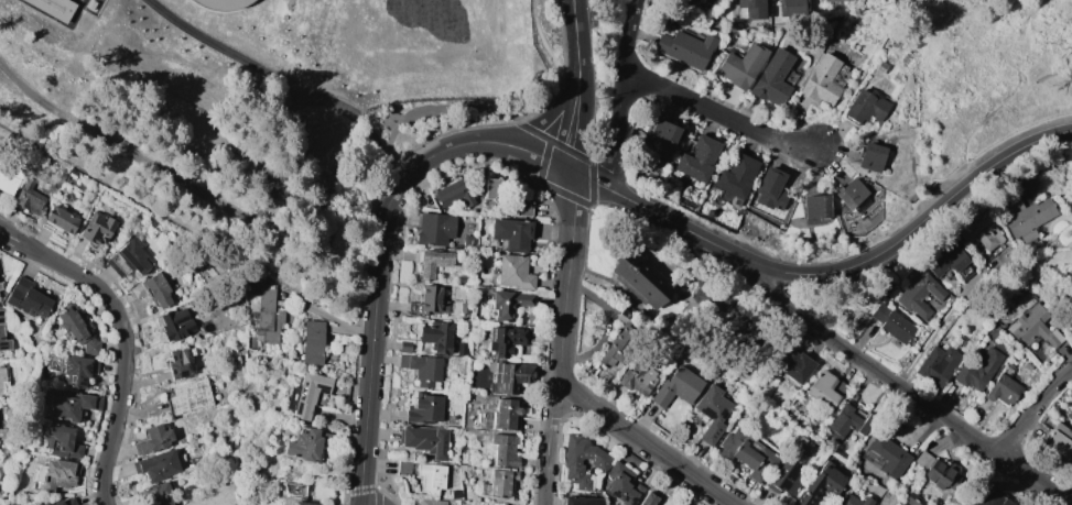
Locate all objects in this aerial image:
building: (682, 0)
building: (837, 1)
building: (223, 3)
storage tank: (223, 3)
building: (792, 7)
building: (56, 8)
building: (752, 9)
road: (574, 15)
building: (120, 46)
storage tank: (120, 46)
building: (685, 47)
road: (572, 62)
building: (740, 66)
building: (772, 79)
building: (824, 79)
building: (175, 87)
road: (622, 92)
road: (584, 102)
building: (864, 107)
road: (436, 108)
road: (998, 109)
road: (723, 117)
road: (541, 122)
road: (562, 134)
building: (659, 141)
road: (523, 149)
building: (870, 157)
building: (697, 158)
road: (556, 164)
parking lot: (944, 168)
building: (736, 177)
road: (589, 179)
building: (9, 180)
building: (768, 185)
building: (453, 193)
building: (849, 193)
building: (29, 198)
building: (505, 199)
building: (815, 206)
building: (1026, 217)
building: (59, 219)
road: (670, 220)
building: (96, 228)
building: (434, 228)
building: (981, 231)
road: (913, 232)
building: (511, 233)
road: (18, 234)
building: (468, 243)
building: (127, 259)
building: (949, 260)
building: (432, 262)
building: (513, 272)
building: (639, 277)
road: (567, 279)
road: (378, 282)
building: (151, 289)
building: (918, 293)
building: (1071, 294)
building: (26, 298)
building: (432, 299)
building: (508, 304)
building: (464, 307)
building: (268, 315)
road: (940, 320)
building: (0, 323)
building: (891, 323)
building: (175, 325)
building: (77, 328)
building: (1032, 328)
building: (436, 336)
road: (126, 338)
building: (505, 340)
building: (312, 342)
building: (619, 344)
building: (404, 345)
building: (178, 362)
building: (794, 365)
building: (935, 365)
building: (422, 369)
building: (77, 370)
building: (977, 370)
building: (511, 375)
building: (1, 376)
building: (637, 378)
road: (898, 384)
building: (676, 386)
building: (823, 389)
building: (1003, 389)
building: (308, 393)
building: (190, 397)
building: (71, 405)
building: (423, 408)
road: (1033, 409)
building: (712, 413)
building: (505, 414)
building: (1069, 416)
building: (847, 422)
building: (152, 439)
building: (1059, 439)
building: (424, 440)
building: (61, 441)
building: (306, 443)
road: (551, 443)
road: (649, 446)
building: (802, 446)
building: (505, 449)
building: (747, 454)
building: (887, 455)
building: (194, 460)
building: (599, 461)
building: (156, 465)
building: (404, 468)
building: (935, 471)
building: (54, 474)
building: (431, 477)
building: (784, 480)
building: (500, 482)
building: (622, 484)
building: (819, 484)
building: (455, 494)
building: (153, 495)
building: (987, 498)
building: (647, 499)
building: (580, 501)
building: (854, 501)
building: (64, 502)
building: (301, 502)
building: (432, 502)
building: (290, 504)
building: (505, 504)

